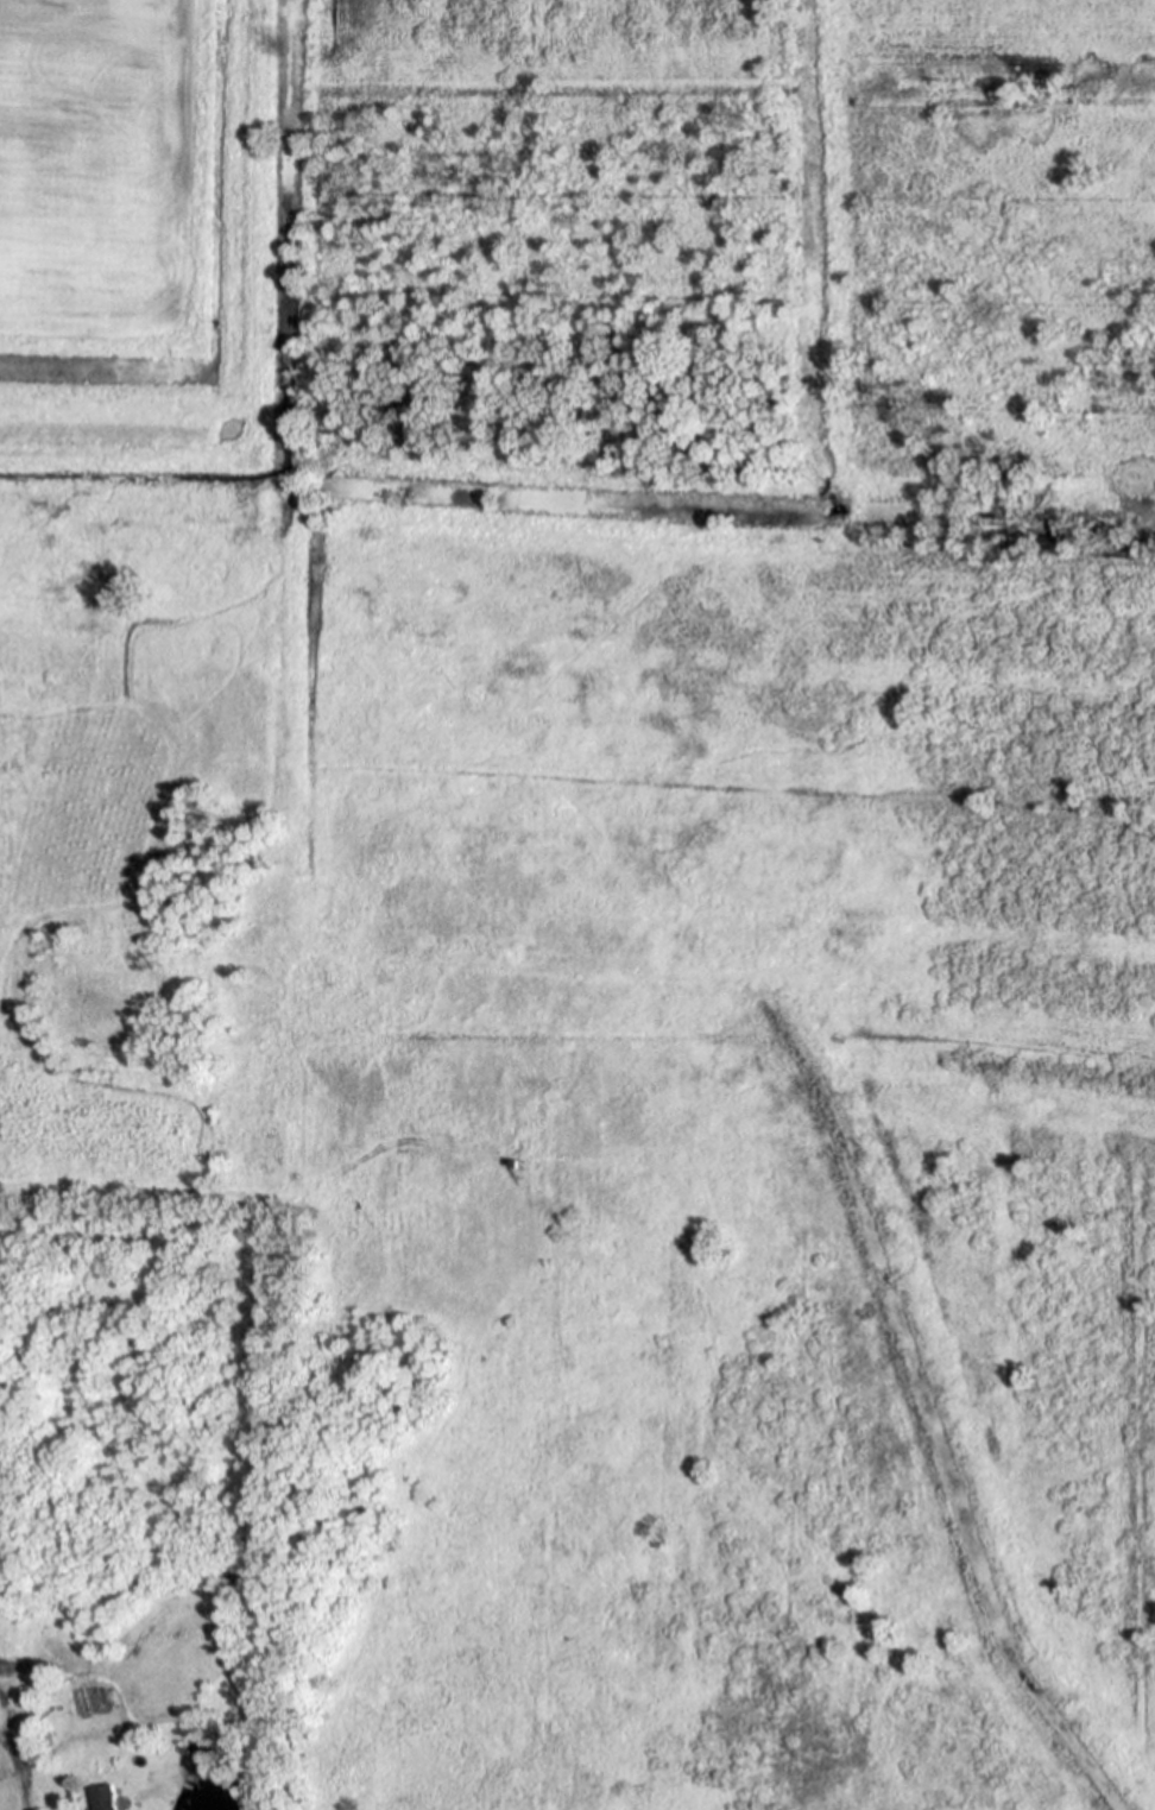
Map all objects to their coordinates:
road: (12, 1778)
building: (106, 1799)

